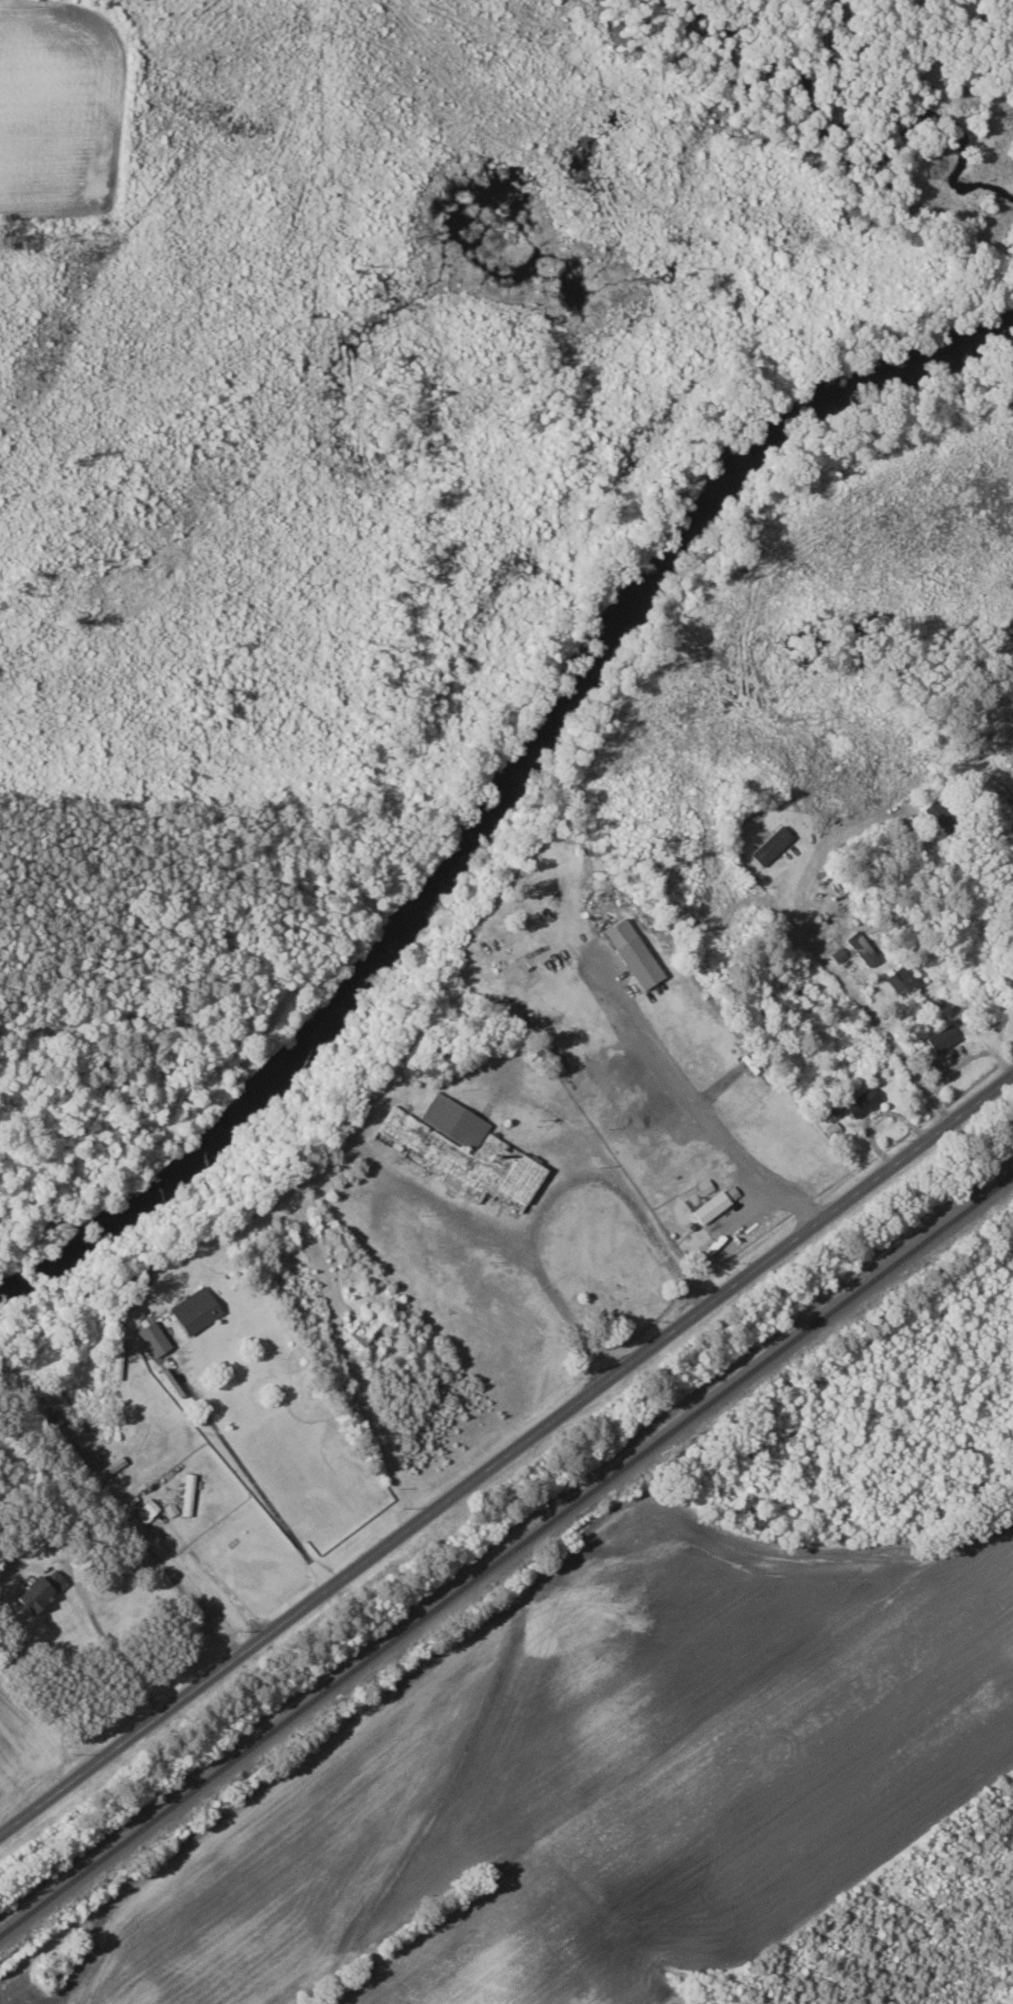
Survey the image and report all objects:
river: (505, 796)
building: (945, 816)
building: (774, 844)
building: (865, 947)
building: (637, 953)
road: (837, 979)
building: (905, 980)
building: (944, 1037)
building: (865, 1101)
road: (702, 1108)
building: (462, 1149)
building: (707, 1185)
road: (558, 1192)
building: (718, 1203)
building: (199, 1309)
road: (507, 1450)
road: (267, 1501)
building: (172, 1509)
building: (149, 1510)
railway: (506, 1555)
road: (175, 1578)
building: (44, 1591)
road: (119, 1657)

